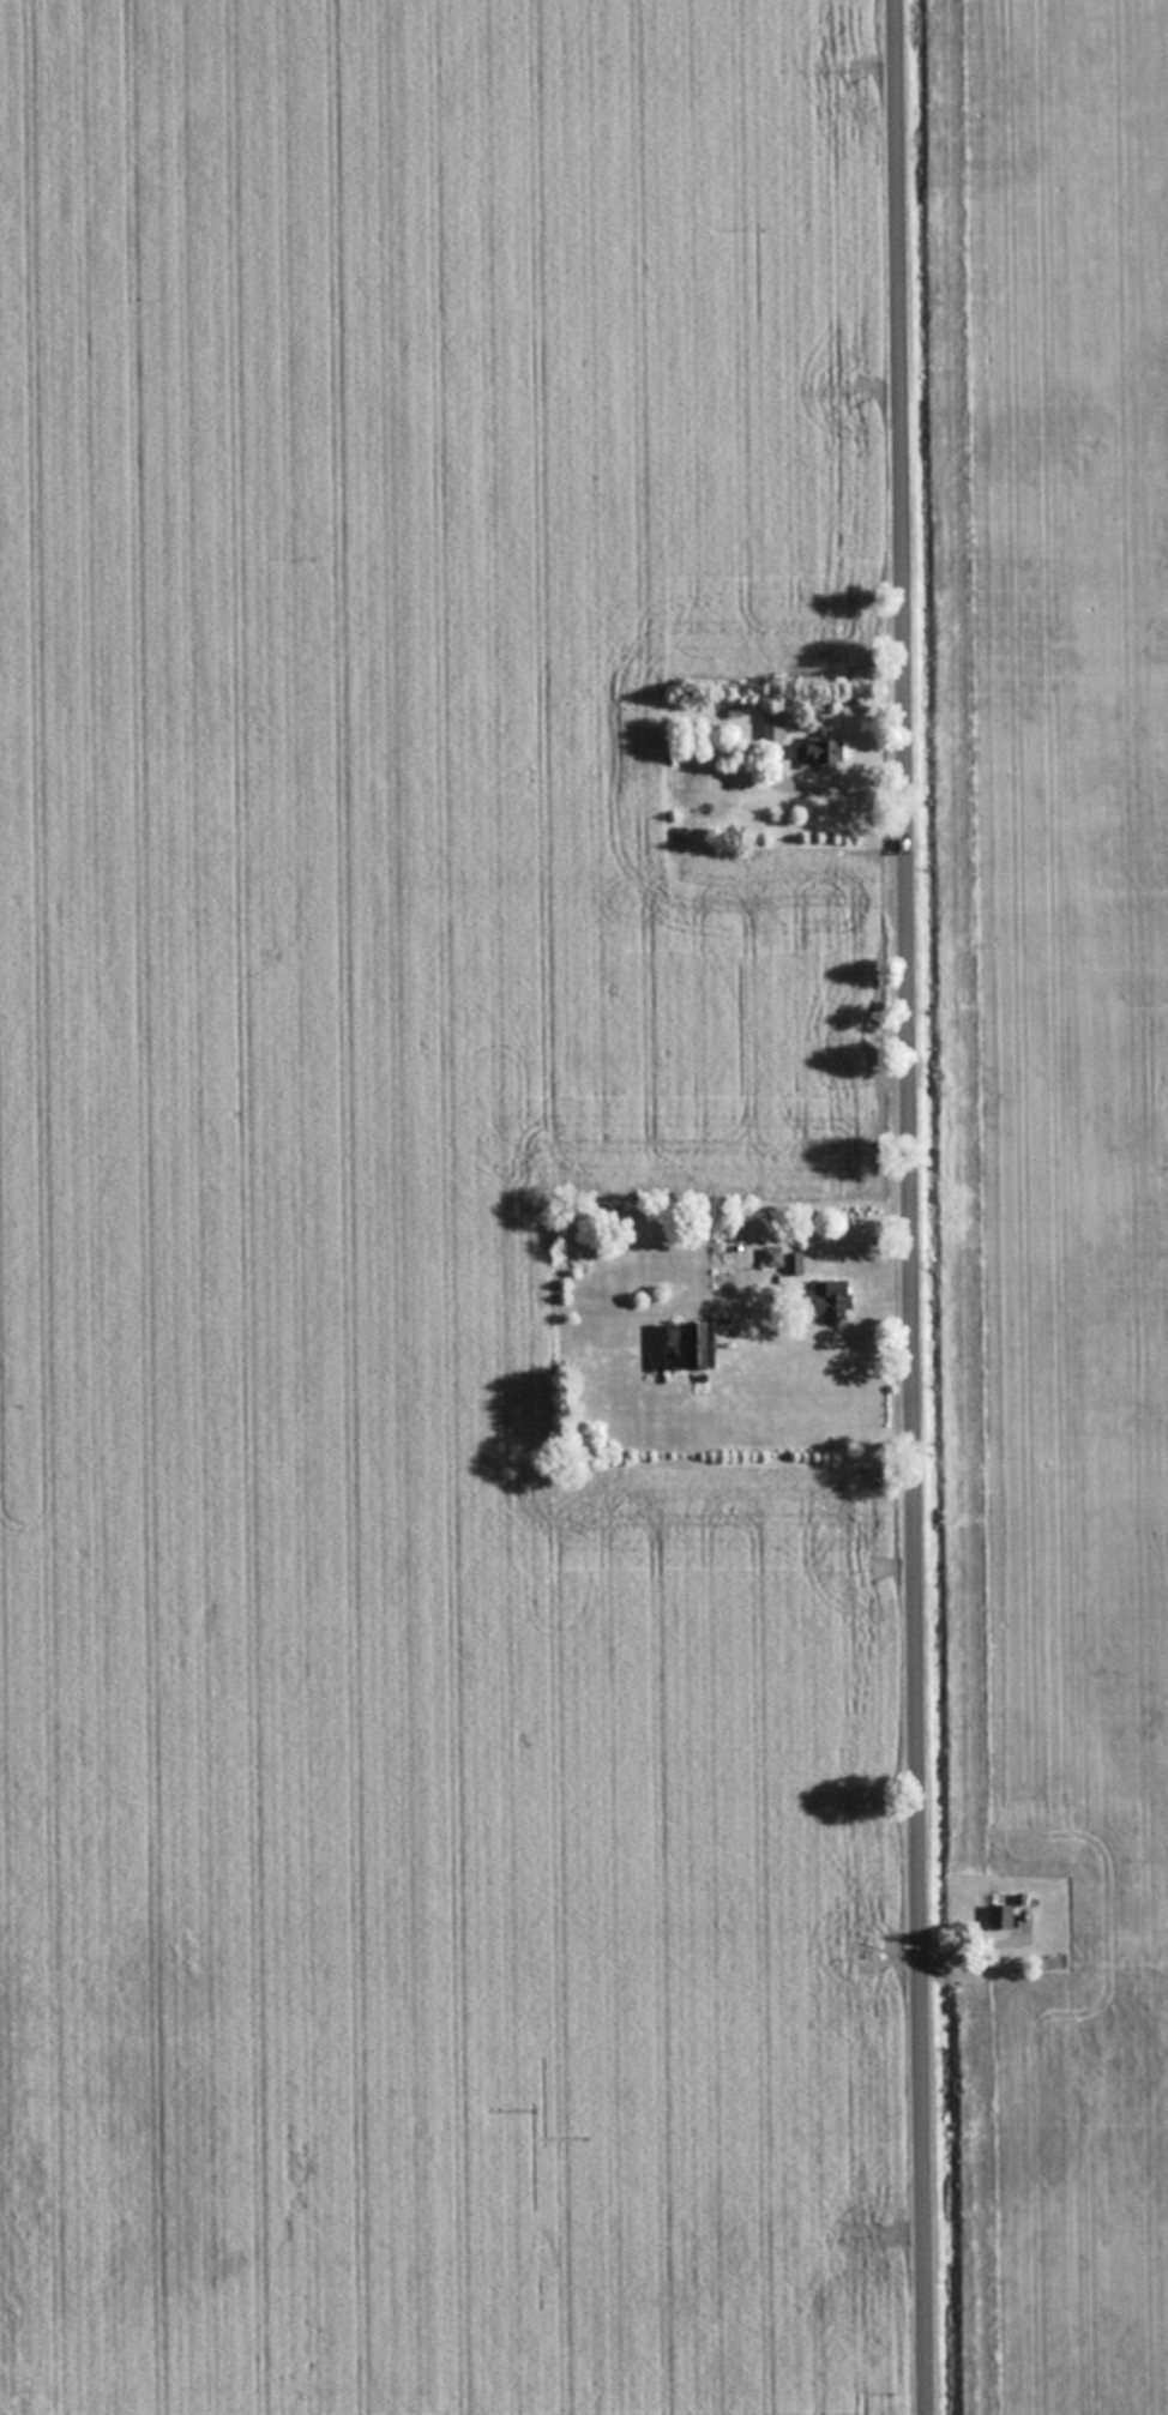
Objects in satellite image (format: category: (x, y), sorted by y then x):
building: (772, 722)
building: (821, 749)
road: (913, 1206)
building: (833, 1297)
building: (704, 1345)
building: (1001, 1916)

